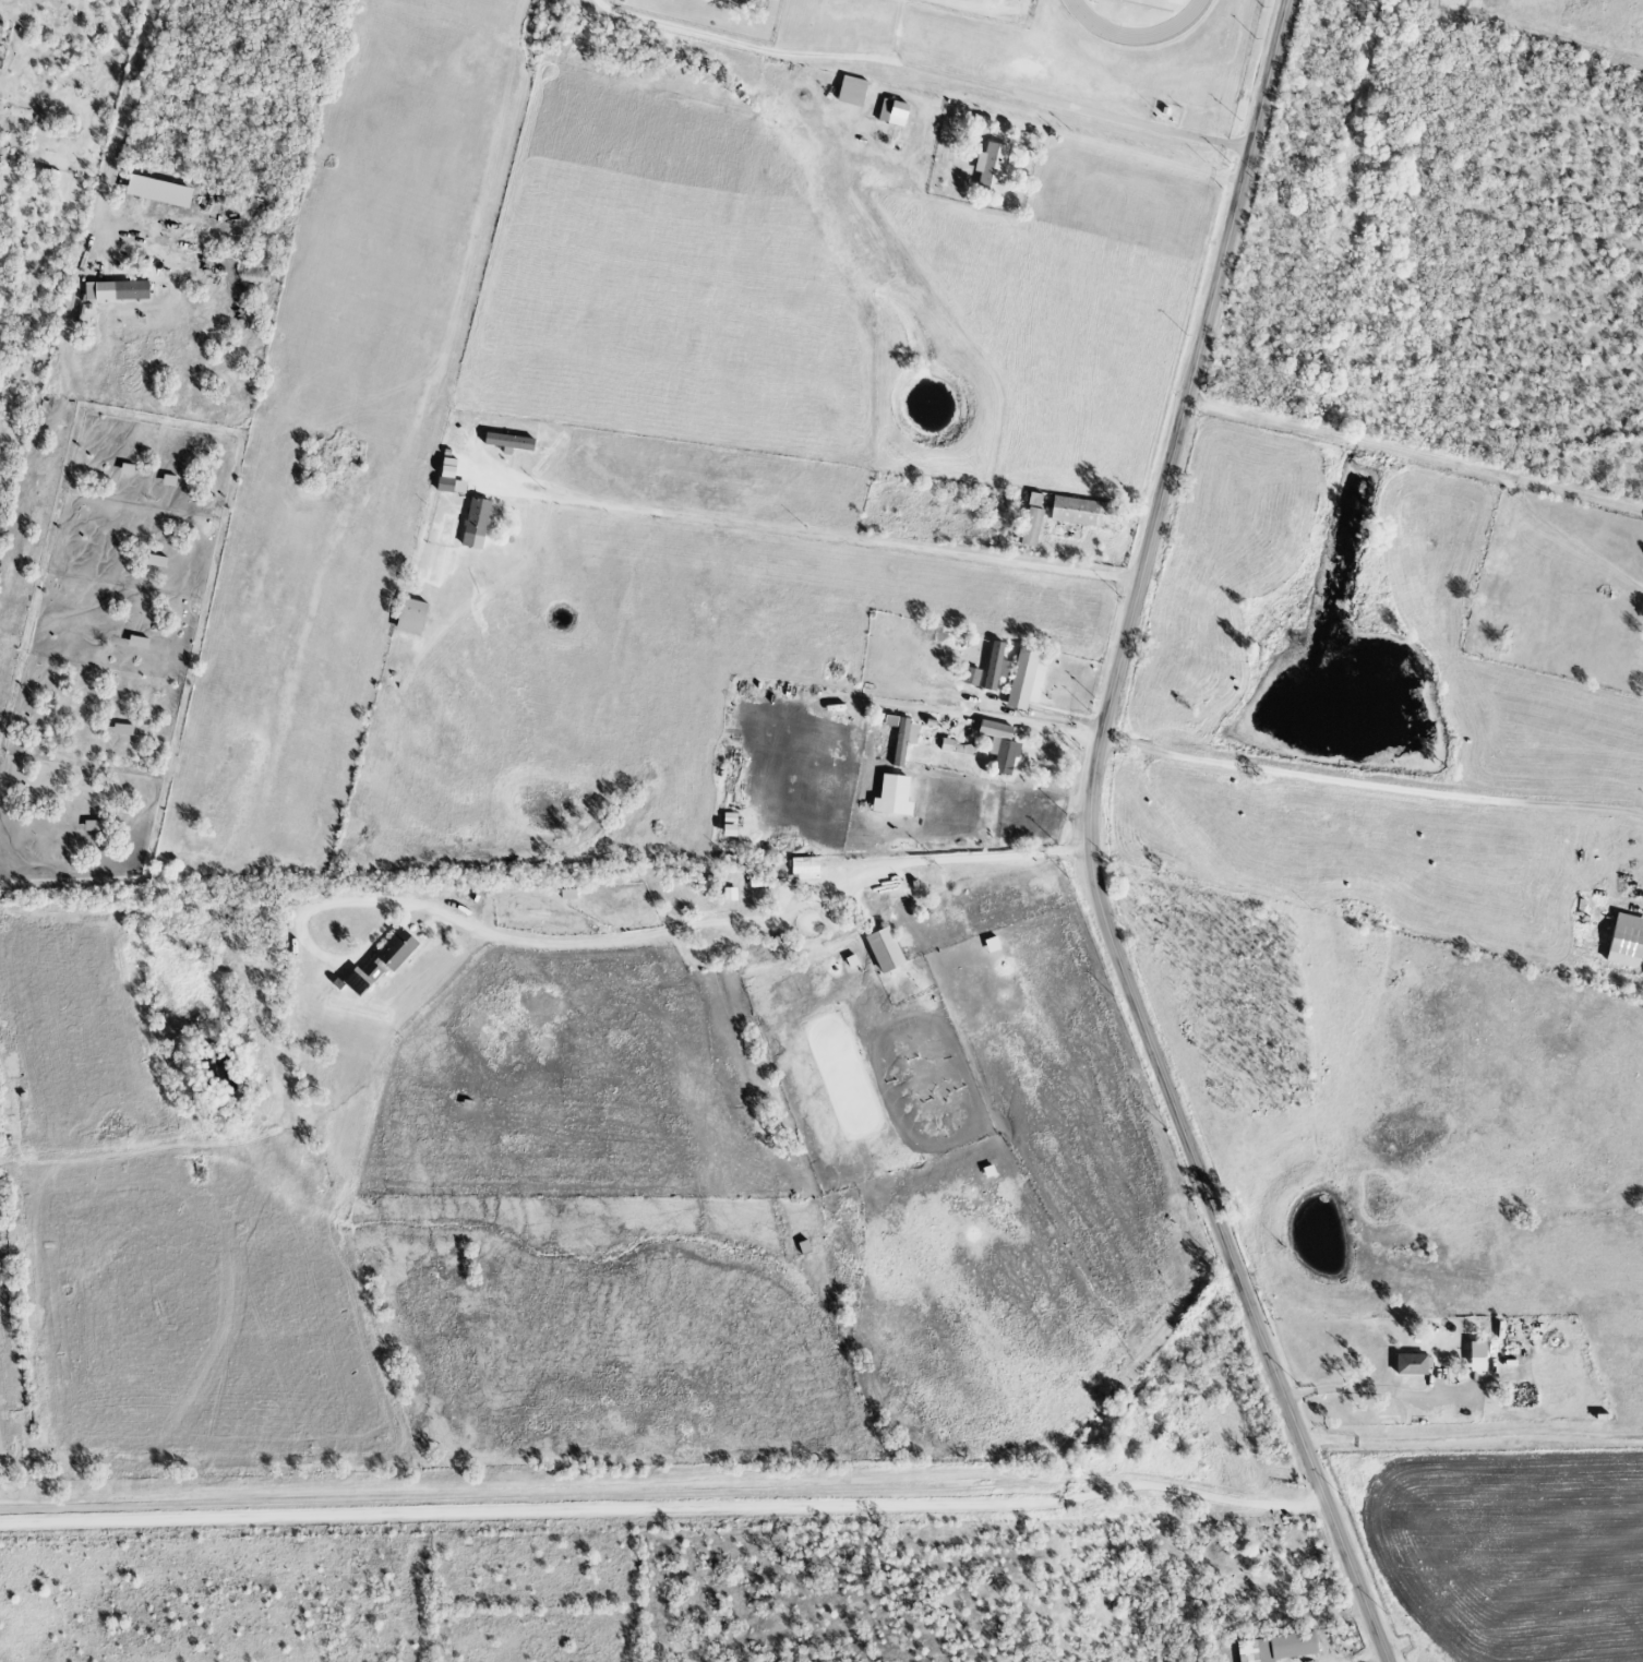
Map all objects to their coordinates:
road: (924, 70)
building: (851, 92)
building: (891, 113)
road: (116, 132)
road: (1132, 151)
building: (991, 168)
building: (157, 192)
building: (116, 291)
building: (507, 442)
road: (1415, 454)
building: (447, 478)
building: (1081, 513)
building: (475, 524)
building: (1031, 527)
road: (816, 536)
road: (1573, 537)
building: (155, 561)
building: (410, 618)
building: (136, 643)
building: (995, 668)
building: (1023, 679)
road: (993, 720)
building: (121, 730)
building: (900, 738)
building: (999, 746)
road: (1371, 785)
building: (891, 797)
building: (93, 826)
road: (1091, 845)
building: (804, 869)
building: (567, 895)
road: (715, 923)
building: (1626, 942)
building: (884, 950)
building: (380, 964)
building: (1476, 1358)
building: (1410, 1365)
road: (1356, 1387)
road: (1472, 1435)
road: (569, 1495)
road: (663, 1505)
building: (1276, 1648)
road: (1368, 1657)

